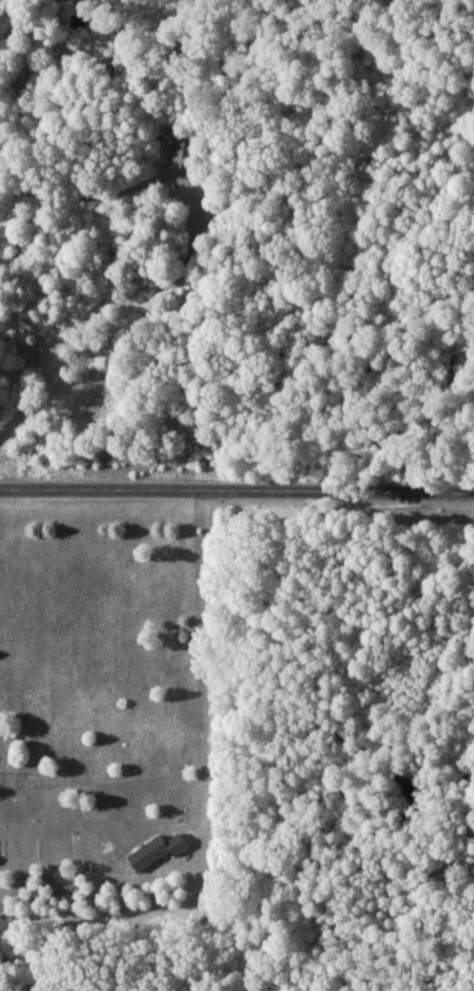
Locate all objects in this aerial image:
building: (183, 153)
road: (237, 492)
building: (157, 850)

